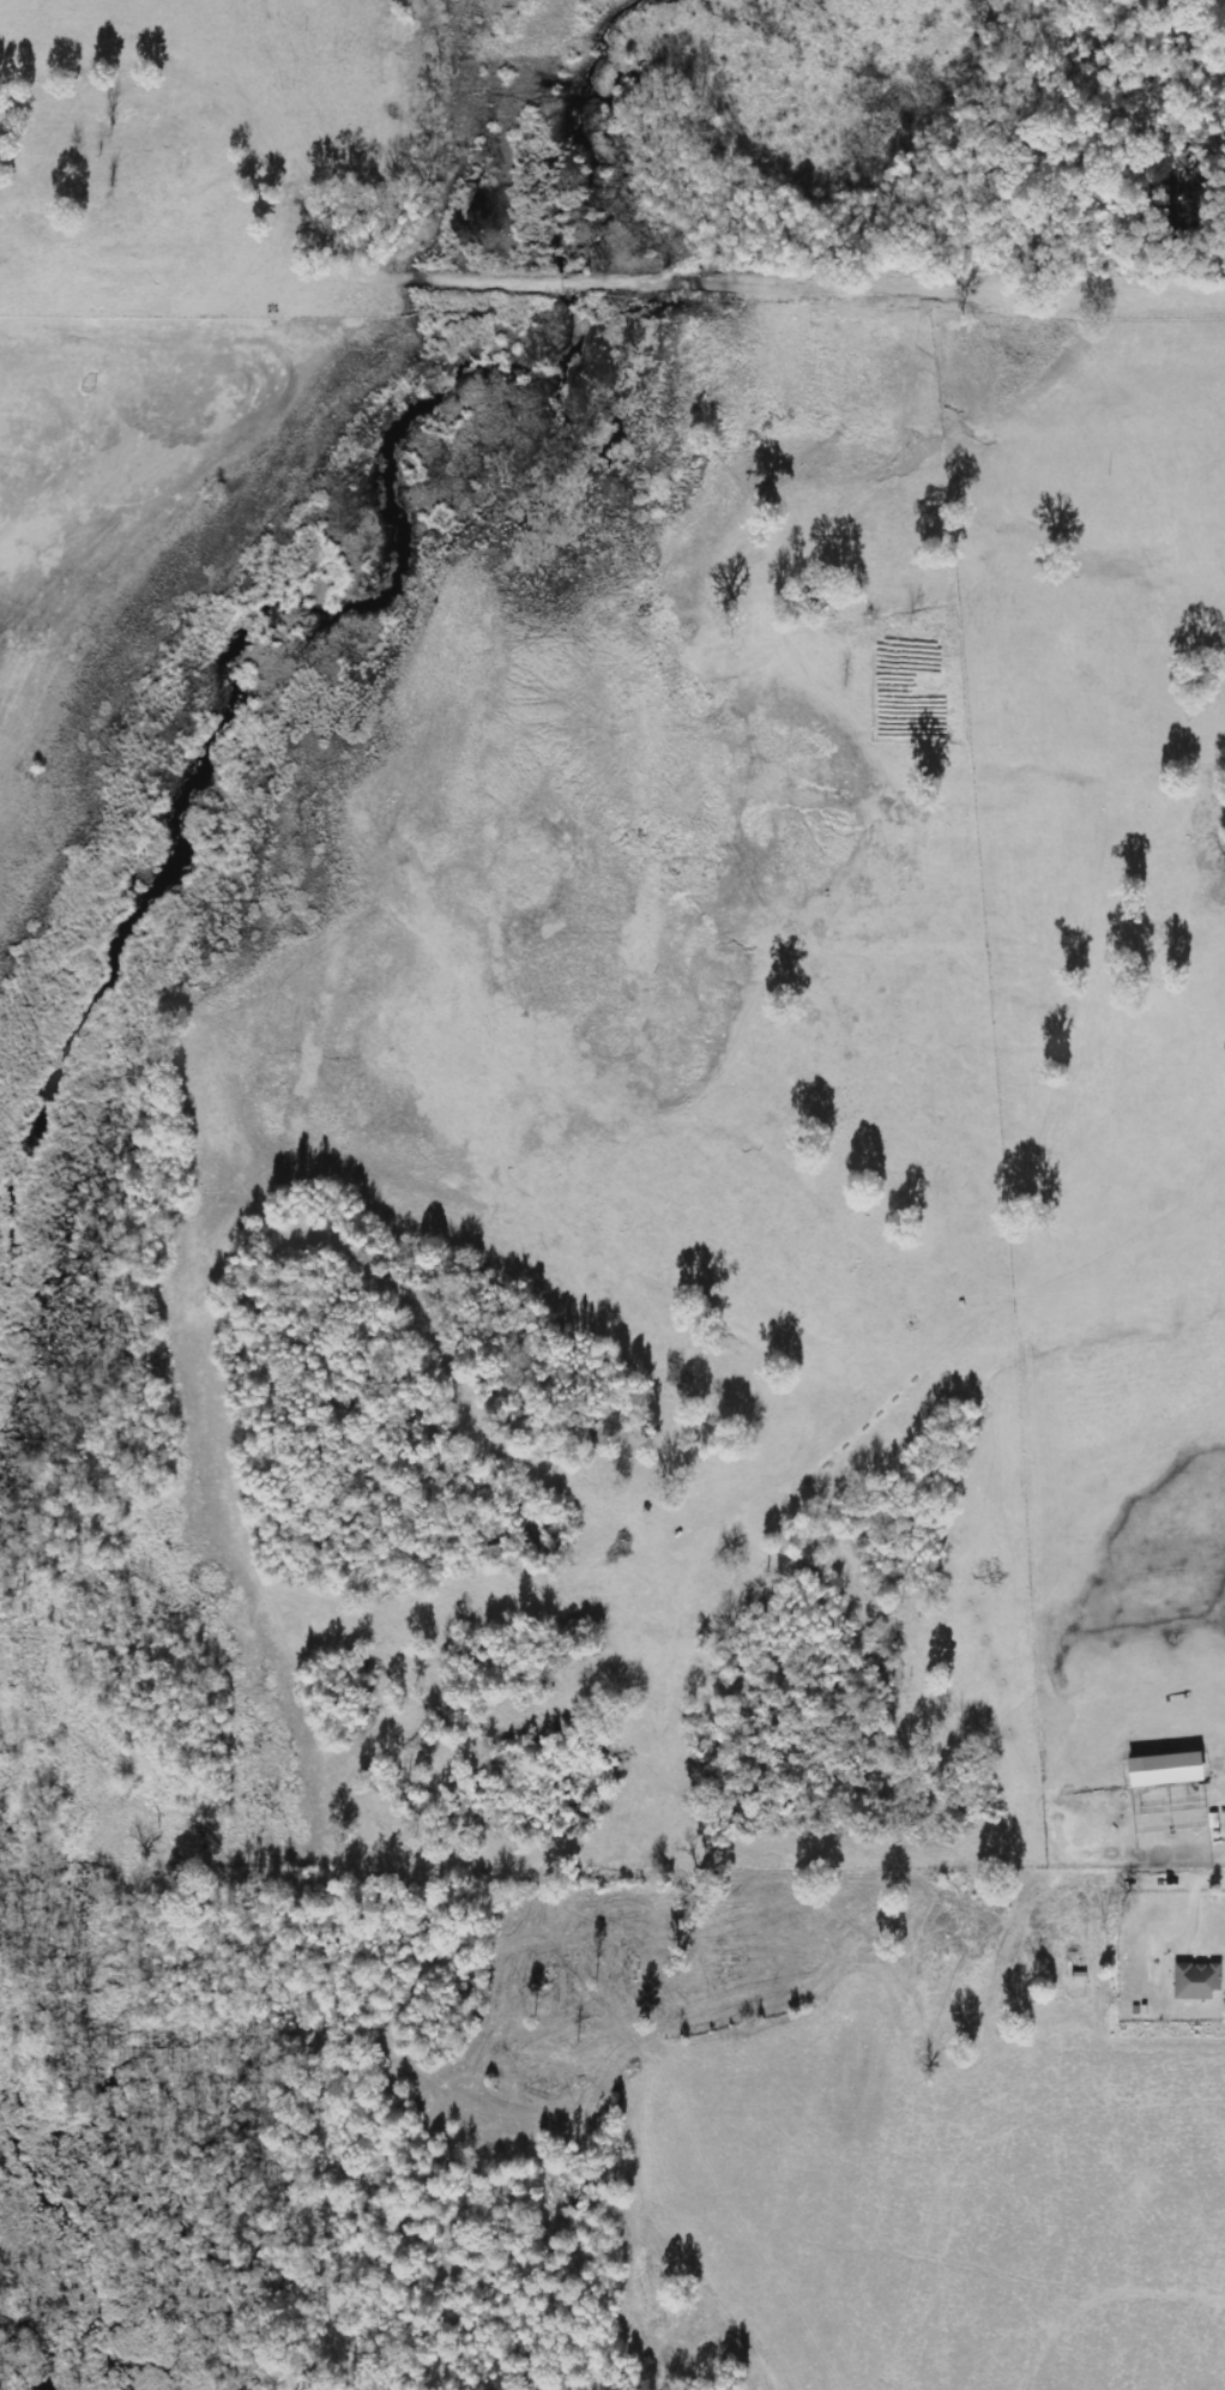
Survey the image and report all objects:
building: (1173, 1770)
road: (1006, 1804)
building: (1201, 1982)

